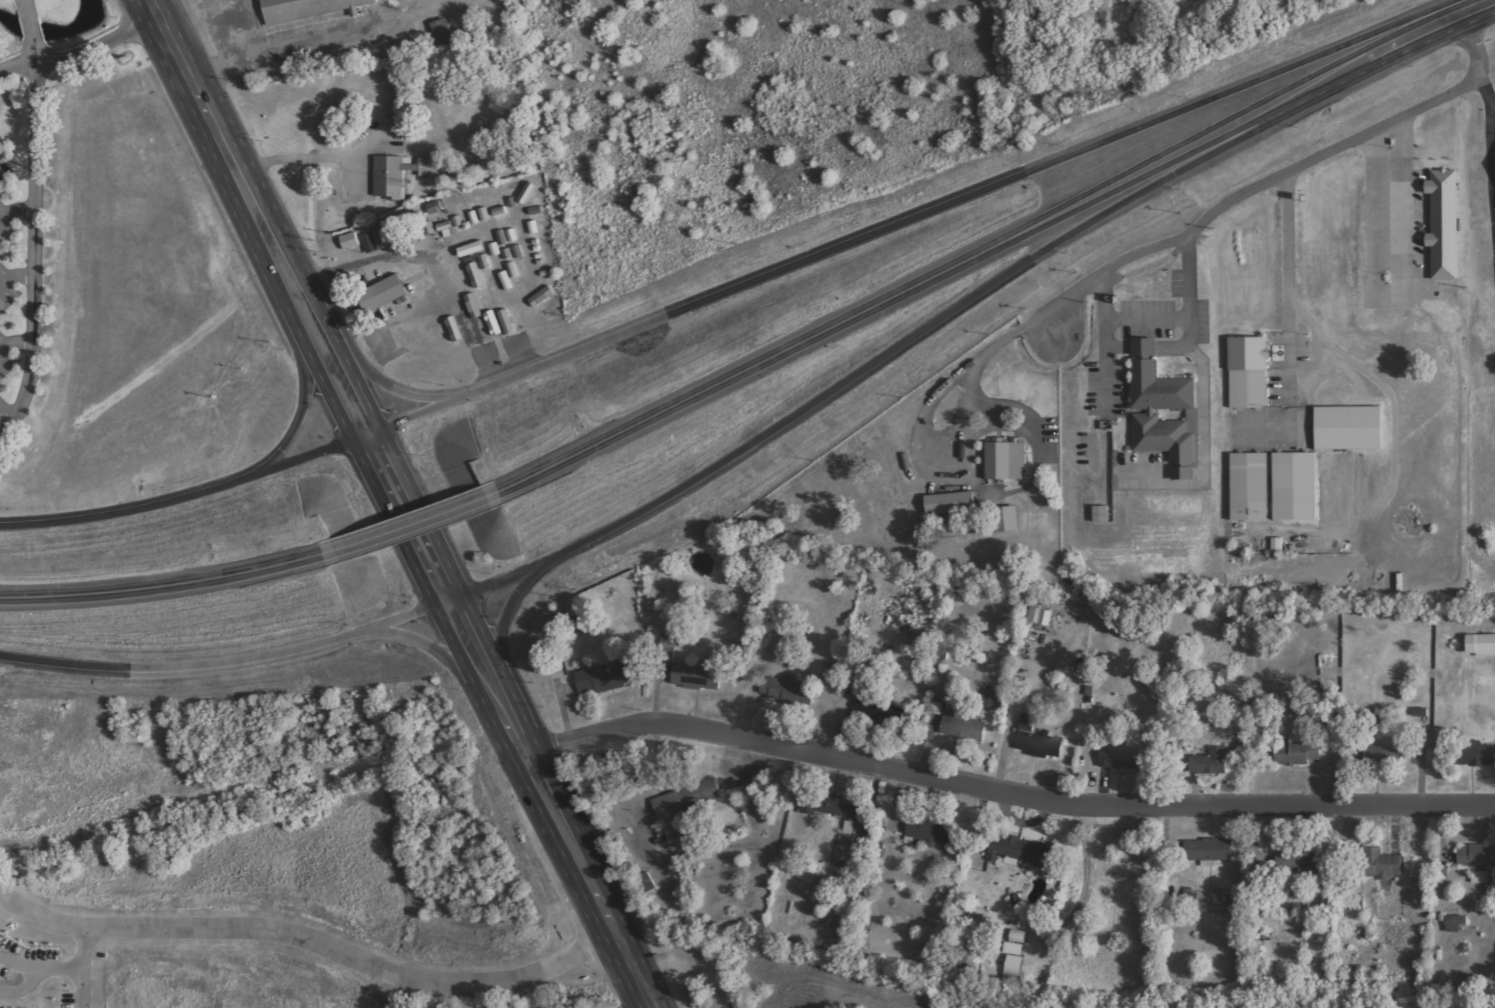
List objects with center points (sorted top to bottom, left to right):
road: (1488, 2)
building: (308, 11)
road: (1441, 23)
road: (167, 39)
road: (80, 54)
building: (407, 180)
road: (1240, 196)
road: (250, 200)
road: (15, 210)
road: (924, 212)
road: (33, 224)
building: (1445, 224)
building: (504, 226)
building: (383, 239)
building: (351, 241)
building: (369, 244)
road: (948, 265)
road: (14, 277)
building: (385, 293)
building: (486, 298)
building: (496, 327)
road: (926, 328)
building: (462, 330)
road: (319, 334)
road: (13, 343)
building: (1248, 372)
road: (399, 388)
road: (349, 392)
building: (1164, 394)
road: (302, 408)
road: (7, 413)
building: (1192, 422)
building: (1349, 428)
building: (1007, 461)
building: (1249, 486)
building: (1296, 487)
road: (188, 495)
building: (952, 503)
building: (1102, 515)
road: (410, 519)
building: (1009, 520)
road: (414, 526)
building: (1278, 545)
road: (165, 587)
building: (1043, 617)
road: (504, 624)
building: (1482, 645)
road: (433, 646)
road: (470, 647)
road: (6, 661)
road: (228, 664)
building: (605, 678)
building: (697, 678)
building: (781, 684)
road: (498, 701)
building: (1419, 715)
building: (964, 725)
building: (1037, 740)
building: (1299, 753)
building: (1478, 754)
building: (1122, 757)
building: (1212, 762)
road: (535, 776)
road: (1004, 792)
building: (687, 798)
building: (833, 808)
building: (929, 832)
building: (1022, 851)
building: (1209, 851)
building: (1297, 860)
building: (1478, 861)
building: (1383, 864)
building: (1408, 865)
road: (603, 911)
building: (1456, 921)
building: (1019, 937)
road: (313, 944)
building: (1016, 949)
building: (1014, 968)
road: (87, 969)
road: (41, 972)
road: (645, 994)
building: (7, 1007)

